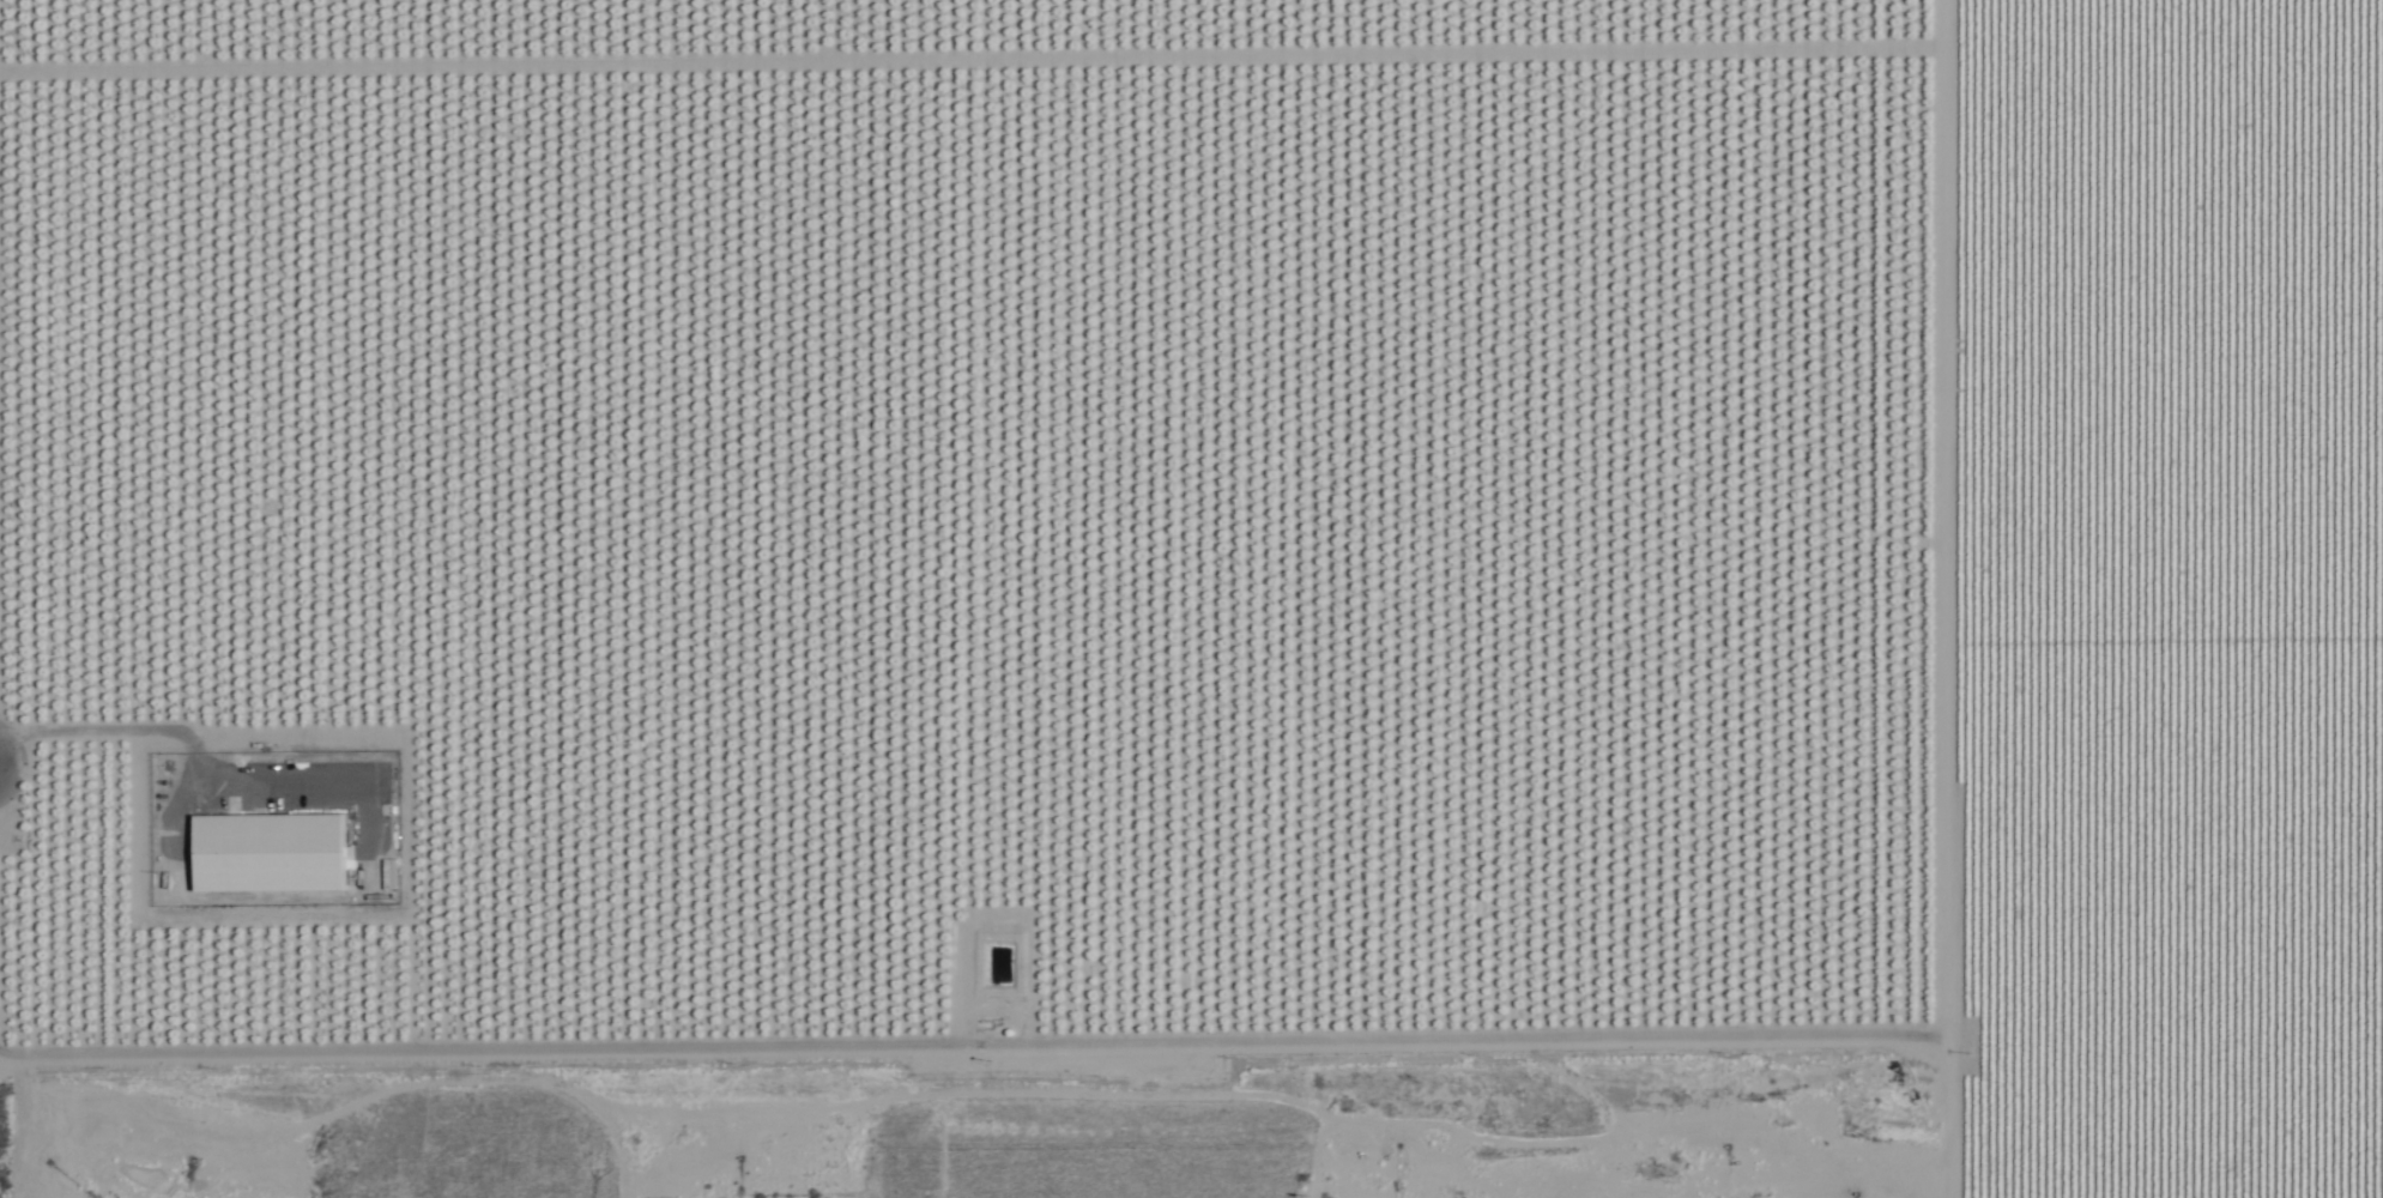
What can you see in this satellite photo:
crop: (2164, 598)
road: (1944, 599)
building: (266, 854)
road: (976, 1040)
road: (1323, 1117)
road: (1622, 1123)
road: (1634, 1156)
road: (1432, 1167)

